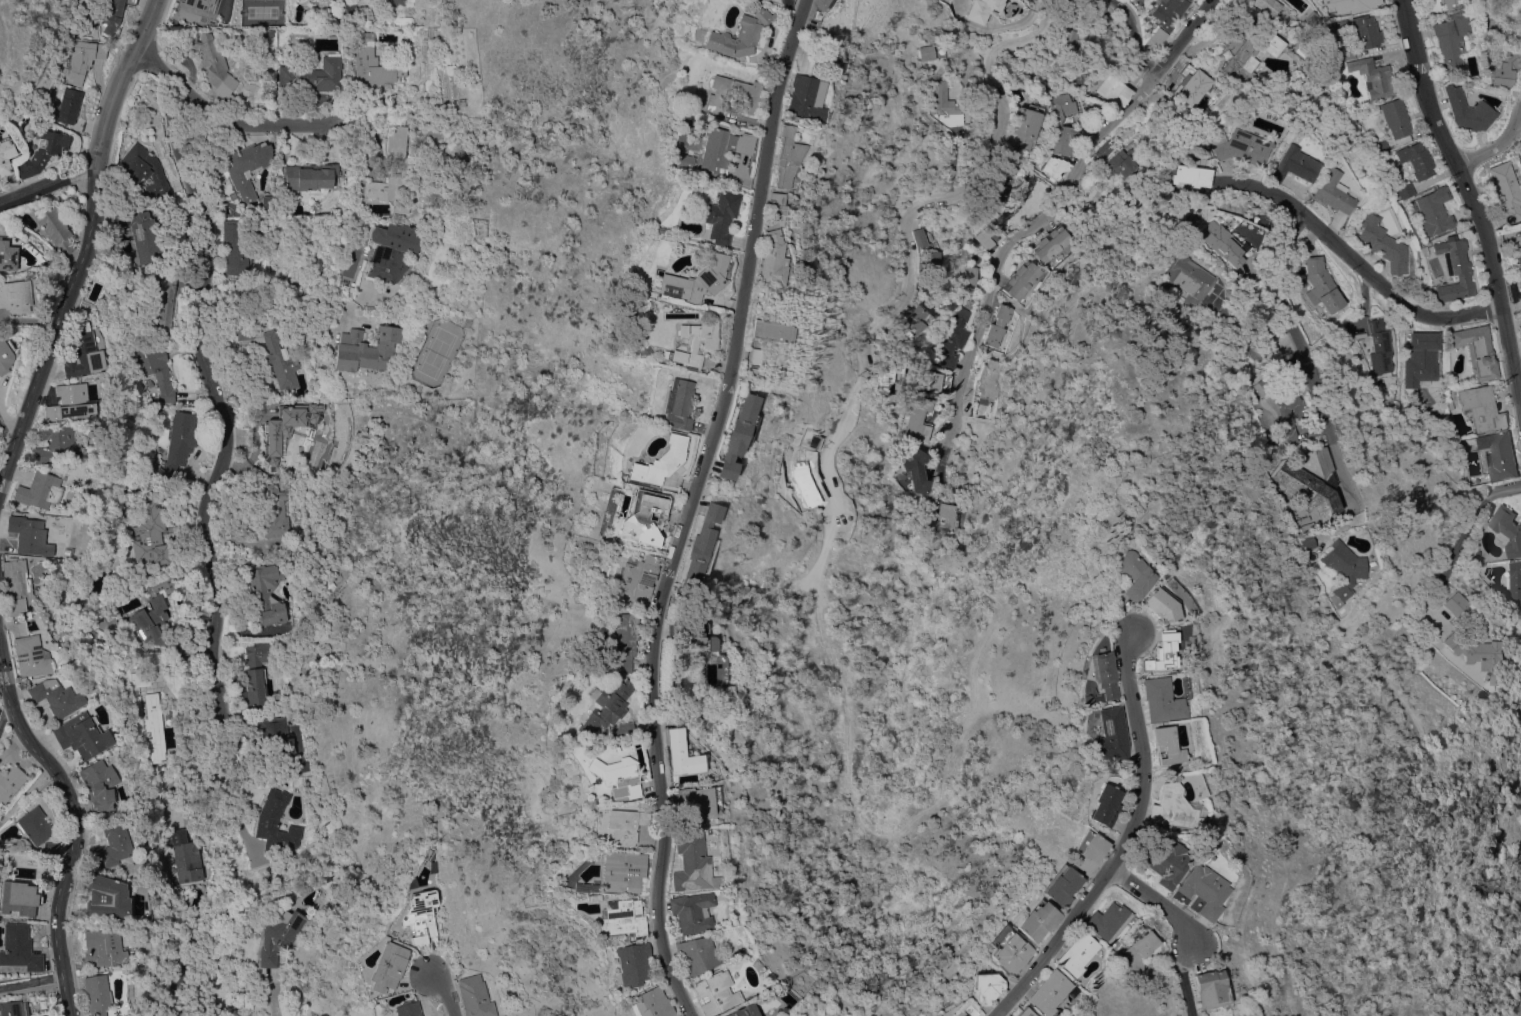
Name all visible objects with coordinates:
building: (398, 2)
building: (198, 3)
building: (823, 4)
building: (1351, 5)
building: (1444, 5)
building: (259, 6)
building: (1267, 6)
building: (349, 7)
building: (981, 10)
building: (1169, 12)
building: (114, 14)
building: (1313, 18)
building: (1337, 26)
building: (1495, 26)
building: (1366, 31)
building: (264, 33)
building: (740, 35)
building: (1155, 37)
building: (1066, 38)
building: (1451, 39)
road: (1132, 47)
building: (1251, 51)
building: (1343, 51)
building: (1298, 52)
building: (928, 53)
building: (84, 59)
building: (210, 61)
building: (375, 63)
building: (1505, 64)
building: (1182, 73)
building: (314, 75)
building: (1373, 76)
building: (1193, 86)
building: (1113, 90)
building: (700, 92)
building: (732, 94)
building: (807, 96)
building: (942, 102)
building: (69, 105)
building: (1468, 110)
road: (219, 114)
building: (1396, 117)
building: (1057, 122)
building: (1024, 126)
building: (433, 139)
road: (1504, 143)
building: (724, 147)
building: (1240, 147)
building: (1381, 147)
building: (1106, 148)
building: (43, 152)
building: (5, 156)
building: (788, 156)
building: (1520, 158)
building: (1416, 159)
building: (685, 160)
building: (246, 164)
building: (1121, 164)
building: (1293, 165)
building: (1055, 166)
building: (148, 173)
building: (394, 173)
building: (1191, 176)
building: (309, 177)
road: (47, 185)
building: (996, 186)
building: (1406, 191)
building: (1333, 193)
building: (1506, 193)
road: (1468, 197)
building: (778, 202)
road: (1058, 209)
building: (1433, 211)
building: (721, 215)
building: (442, 221)
building: (55, 230)
building: (143, 235)
building: (919, 237)
building: (989, 238)
building: (1052, 243)
building: (1382, 243)
building: (1221, 245)
road: (87, 248)
building: (236, 248)
building: (393, 250)
building: (1426, 250)
building: (8, 256)
building: (773, 259)
building: (931, 260)
building: (1518, 260)
building: (42, 261)
road: (1361, 266)
road: (911, 270)
building: (1455, 270)
building: (968, 279)
building: (1022, 279)
building: (1185, 280)
building: (1519, 280)
building: (699, 281)
building: (1322, 284)
building: (16, 296)
building: (164, 309)
road: (280, 313)
building: (912, 322)
building: (999, 325)
building: (1357, 329)
building: (244, 331)
building: (771, 331)
building: (955, 338)
building: (694, 341)
building: (1379, 347)
building: (366, 349)
building: (82, 352)
building: (1478, 352)
road: (1298, 354)
building: (5, 355)
building: (753, 355)
building: (1421, 359)
building: (281, 360)
building: (155, 368)
building: (751, 370)
building: (888, 372)
building: (936, 381)
building: (987, 382)
building: (1451, 398)
building: (71, 402)
building: (1279, 403)
building: (678, 404)
building: (1482, 408)
road: (220, 412)
building: (919, 419)
building: (287, 426)
building: (739, 435)
building: (180, 441)
building: (55, 444)
building: (1499, 455)
building: (659, 461)
building: (916, 469)
building: (1308, 489)
building: (40, 490)
road: (685, 506)
building: (275, 512)
building: (946, 516)
building: (644, 519)
building: (1507, 530)
building: (150, 534)
building: (30, 535)
building: (1307, 542)
road: (1458, 544)
building: (701, 546)
building: (66, 552)
building: (1342, 570)
building: (1133, 574)
building: (636, 580)
building: (1515, 583)
building: (16, 585)
building: (267, 594)
building: (1455, 604)
building: (1160, 605)
building: (157, 614)
building: (109, 623)
building: (700, 638)
building: (620, 639)
building: (1161, 653)
building: (1480, 653)
building: (30, 656)
building: (255, 675)
building: (1102, 677)
building: (144, 678)
building: (56, 697)
building: (1161, 700)
building: (603, 705)
building: (154, 727)
building: (617, 728)
building: (277, 734)
building: (82, 735)
building: (1111, 735)
building: (1167, 745)
building: (680, 753)
building: (299, 764)
building: (615, 777)
building: (10, 782)
building: (99, 784)
building: (697, 800)
building: (1105, 805)
building: (1175, 809)
building: (276, 824)
building: (35, 825)
building: (623, 825)
road: (895, 833)
road: (75, 836)
road: (1124, 840)
building: (113, 845)
building: (50, 849)
building: (1089, 851)
building: (185, 857)
building: (1164, 859)
building: (692, 863)
building: (623, 872)
building: (1062, 885)
building: (583, 887)
building: (1204, 890)
building: (19, 897)
building: (106, 897)
building: (591, 898)
road: (1156, 901)
building: (693, 911)
building: (422, 918)
building: (621, 918)
building: (1038, 921)
building: (1108, 921)
building: (278, 936)
building: (623, 940)
building: (19, 947)
building: (105, 947)
building: (1139, 947)
building: (1009, 950)
building: (1078, 953)
building: (697, 955)
building: (632, 962)
building: (389, 967)
road: (1185, 979)
building: (986, 986)
road: (33, 989)
building: (1211, 989)
building: (716, 992)
building: (1049, 992)
road: (444, 994)
building: (97, 995)
building: (477, 996)
road: (273, 1001)
building: (651, 1004)
building: (11, 1008)
building: (408, 1009)
building: (745, 1011)
building: (1025, 1011)
building: (959, 1013)

